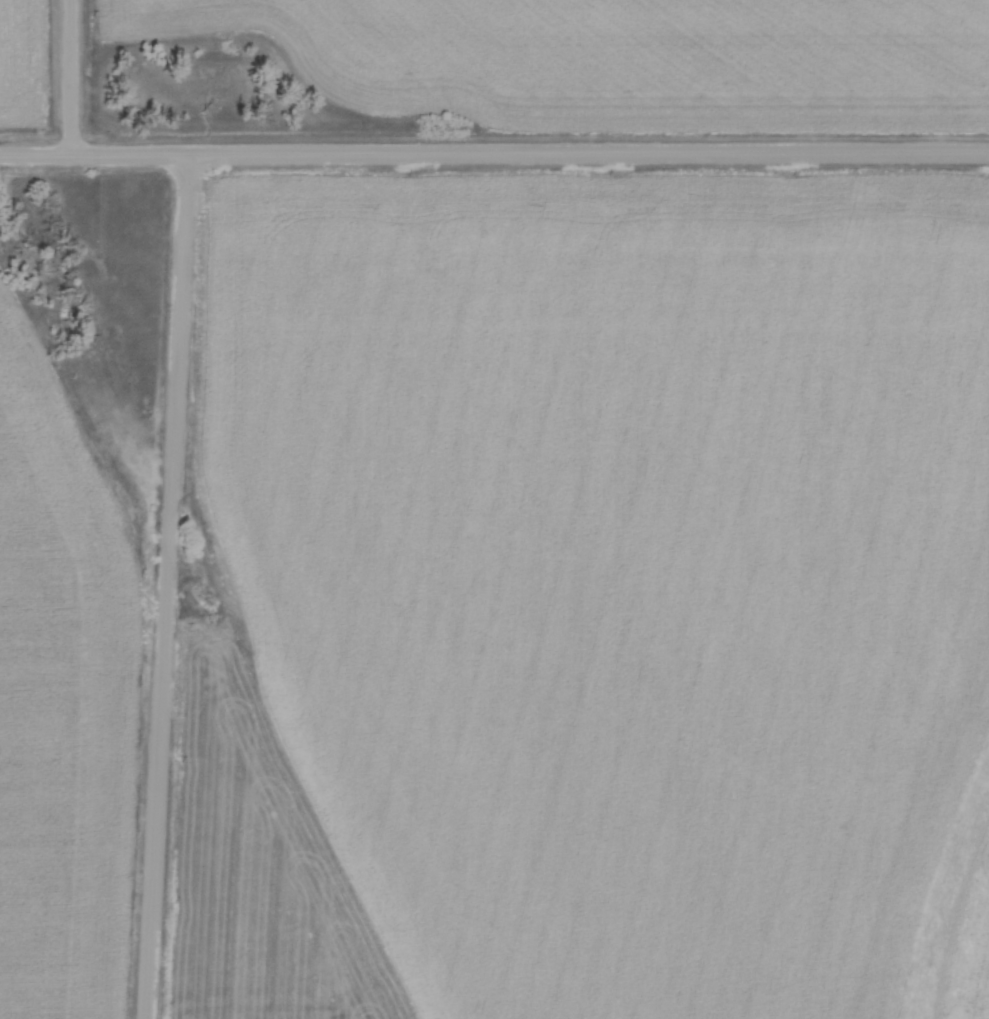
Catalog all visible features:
road: (74, 79)
road: (494, 158)
crop: (616, 563)
road: (169, 589)
crop: (61, 709)

